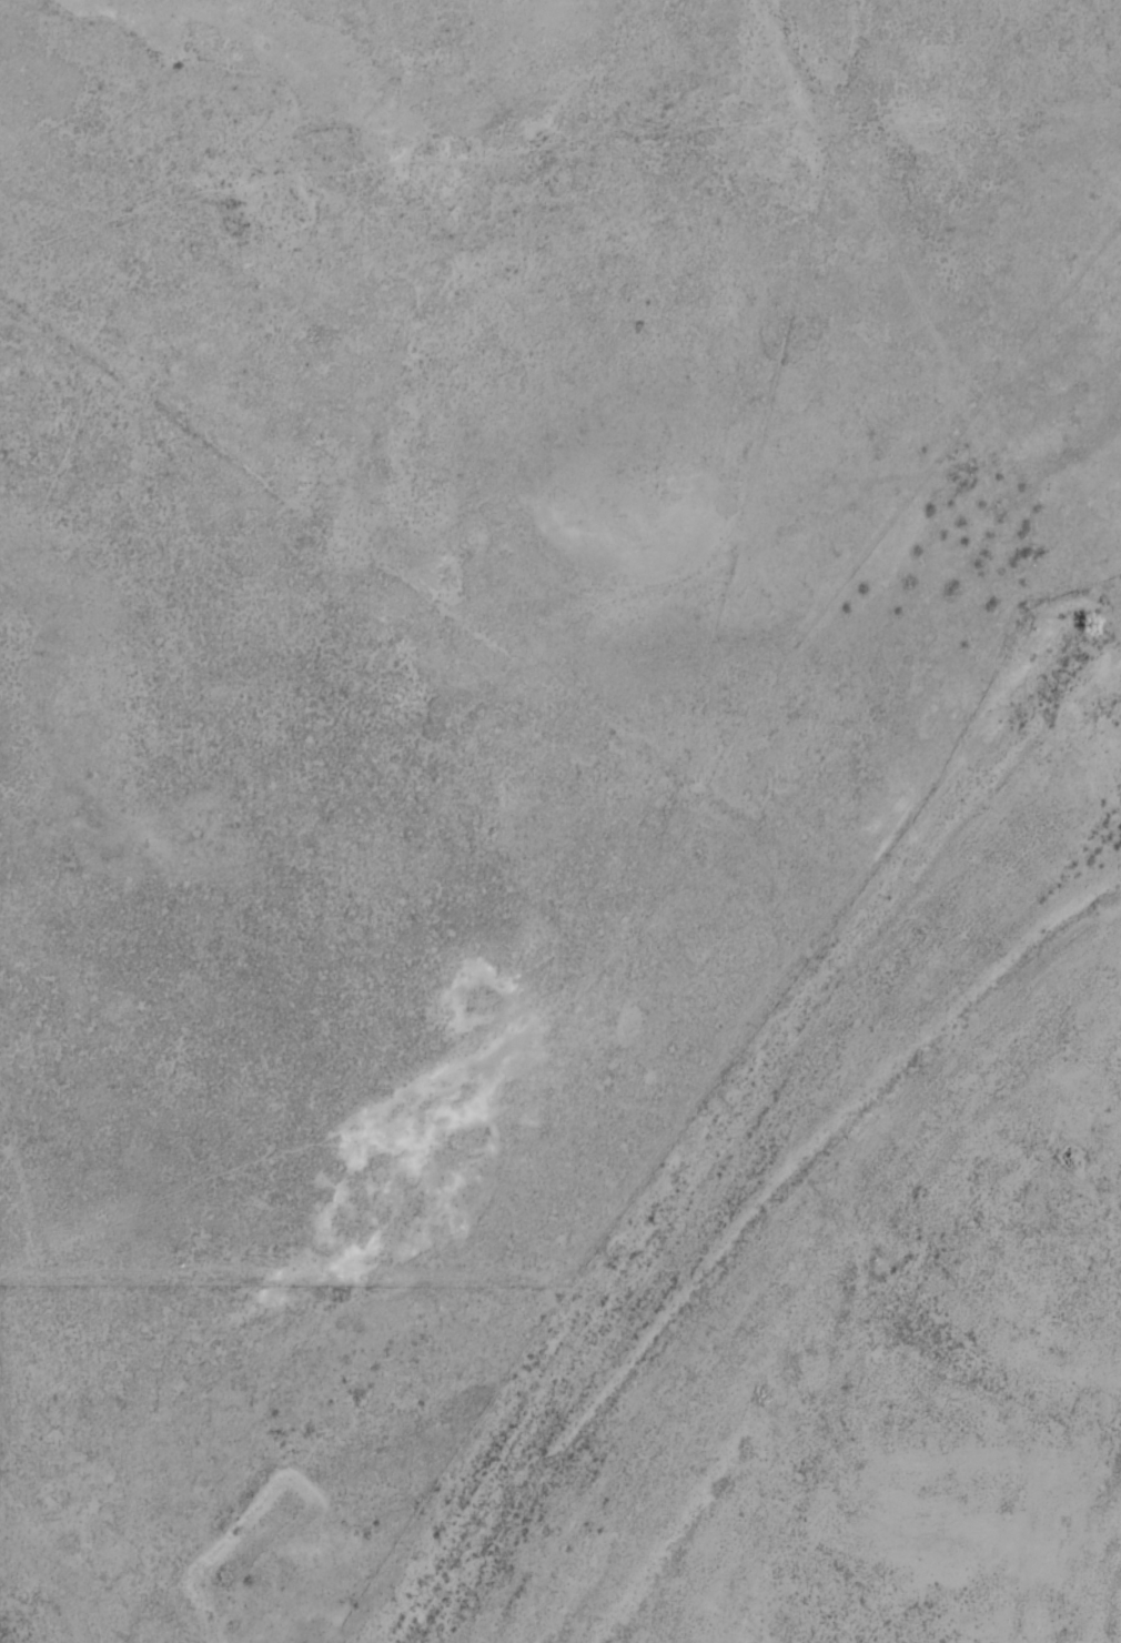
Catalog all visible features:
quarry: (939, 1411)

